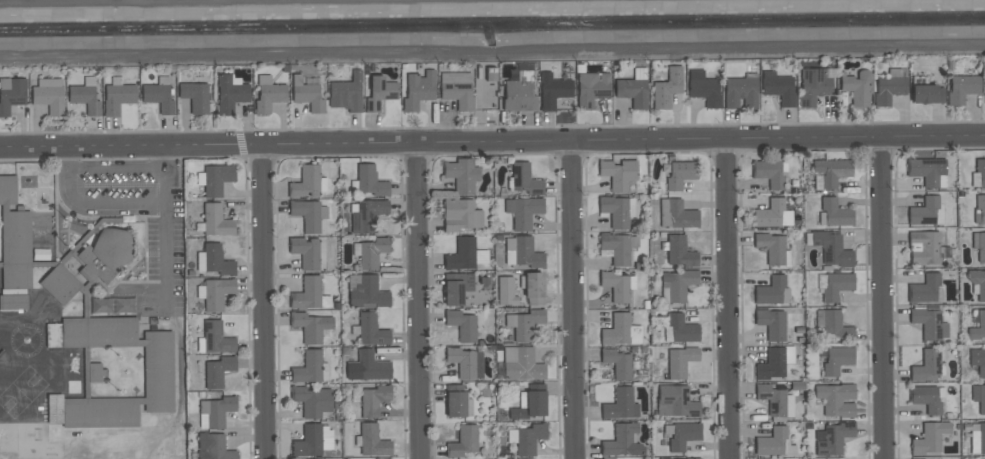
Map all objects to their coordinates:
road: (147, 2)
building: (485, 86)
building: (812, 87)
building: (857, 87)
building: (666, 88)
building: (591, 89)
building: (889, 89)
building: (962, 89)
building: (418, 90)
building: (457, 90)
building: (779, 90)
building: (553, 91)
building: (379, 92)
building: (632, 92)
building: (705, 92)
building: (739, 92)
building: (346, 93)
building: (519, 93)
building: (231, 94)
building: (927, 94)
building: (12, 96)
building: (195, 96)
building: (158, 97)
building: (269, 97)
building: (308, 97)
building: (84, 98)
building: (117, 98)
building: (49, 100)
road: (492, 141)
road: (115, 169)
building: (926, 170)
building: (831, 171)
building: (769, 173)
building: (981, 173)
building: (618, 174)
building: (680, 174)
building: (461, 175)
building: (524, 179)
building: (216, 180)
building: (370, 181)
building: (306, 182)
road: (120, 200)
building: (981, 207)
building: (615, 211)
building: (924, 211)
building: (525, 212)
building: (835, 213)
building: (769, 214)
building: (307, 215)
building: (457, 215)
building: (681, 215)
building: (366, 216)
building: (216, 221)
building: (14, 237)
road: (164, 245)
building: (979, 245)
building: (771, 247)
building: (616, 248)
building: (924, 248)
building: (832, 249)
building: (306, 252)
building: (371, 252)
building: (526, 252)
building: (680, 252)
building: (462, 254)
building: (105, 255)
building: (217, 261)
building: (977, 283)
building: (59, 284)
building: (679, 284)
building: (836, 286)
building: (456, 287)
building: (616, 287)
building: (534, 288)
building: (924, 289)
building: (506, 291)
building: (770, 291)
building: (367, 293)
building: (216, 294)
building: (307, 294)
road: (573, 299)
road: (882, 299)
road: (727, 300)
road: (419, 301)
road: (263, 302)
building: (13, 303)
building: (112, 305)
building: (771, 323)
building: (927, 323)
building: (462, 325)
building: (527, 325)
building: (835, 325)
building: (311, 326)
building: (977, 327)
building: (683, 329)
building: (371, 330)
building: (621, 331)
building: (216, 338)
building: (837, 360)
building: (977, 360)
building: (462, 362)
building: (680, 362)
building: (618, 363)
building: (771, 364)
building: (927, 366)
building: (368, 367)
building: (524, 367)
building: (308, 368)
building: (218, 371)
building: (158, 372)
building: (925, 398)
building: (836, 399)
building: (312, 400)
building: (373, 400)
building: (455, 400)
building: (772, 400)
building: (982, 400)
building: (676, 402)
building: (620, 404)
building: (530, 406)
building: (219, 411)
building: (683, 435)
building: (929, 437)
building: (981, 438)
building: (529, 439)
building: (834, 439)
building: (623, 441)
building: (308, 442)
building: (373, 442)
building: (463, 442)
building: (772, 442)
building: (213, 447)
building: (672, 458)

